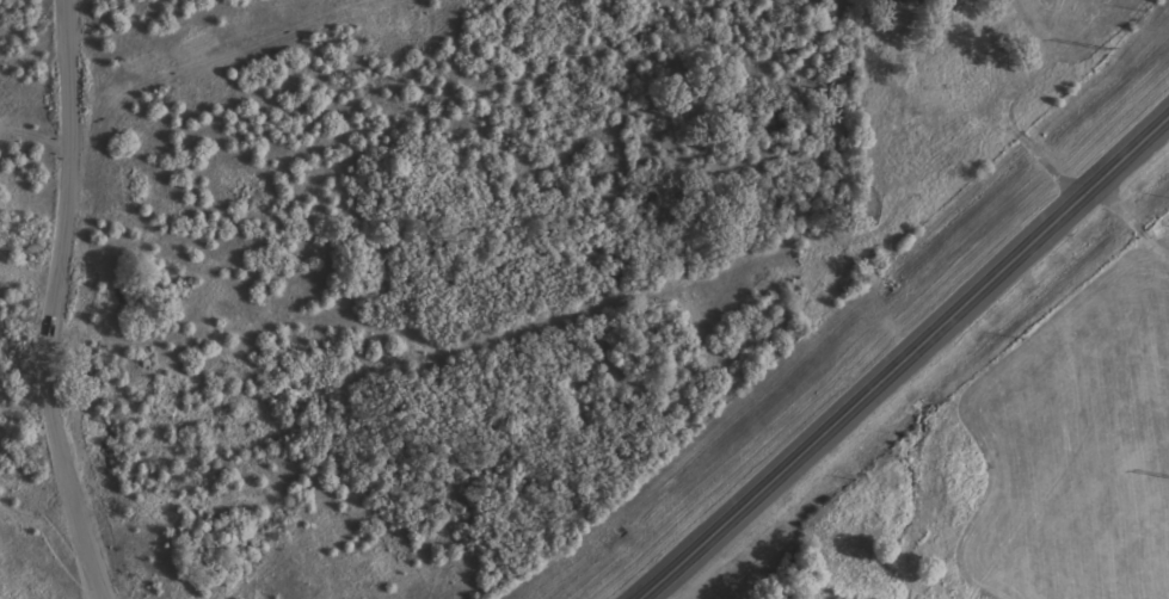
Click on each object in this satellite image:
power tower: (1103, 45)
road: (904, 359)

